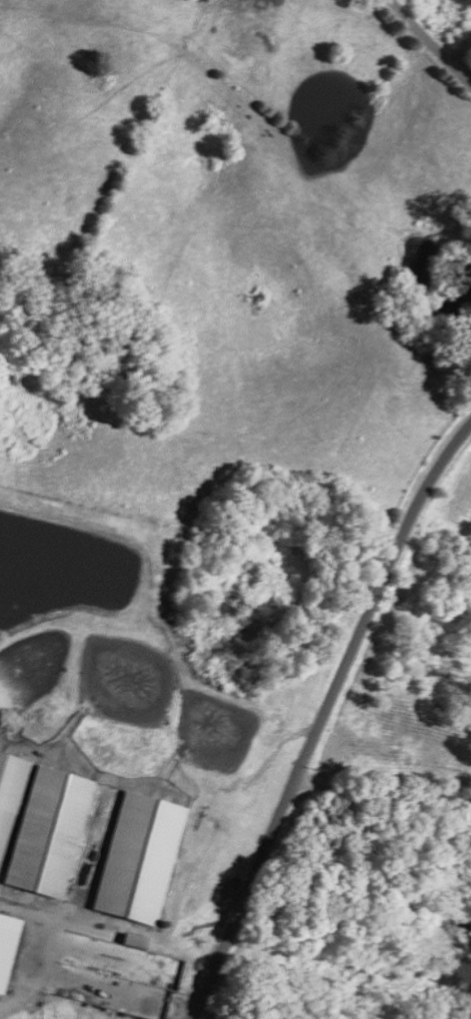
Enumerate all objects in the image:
road: (426, 47)
road: (323, 719)
road: (384, 791)
building: (9, 792)
building: (47, 831)
building: (136, 857)
building: (134, 978)

